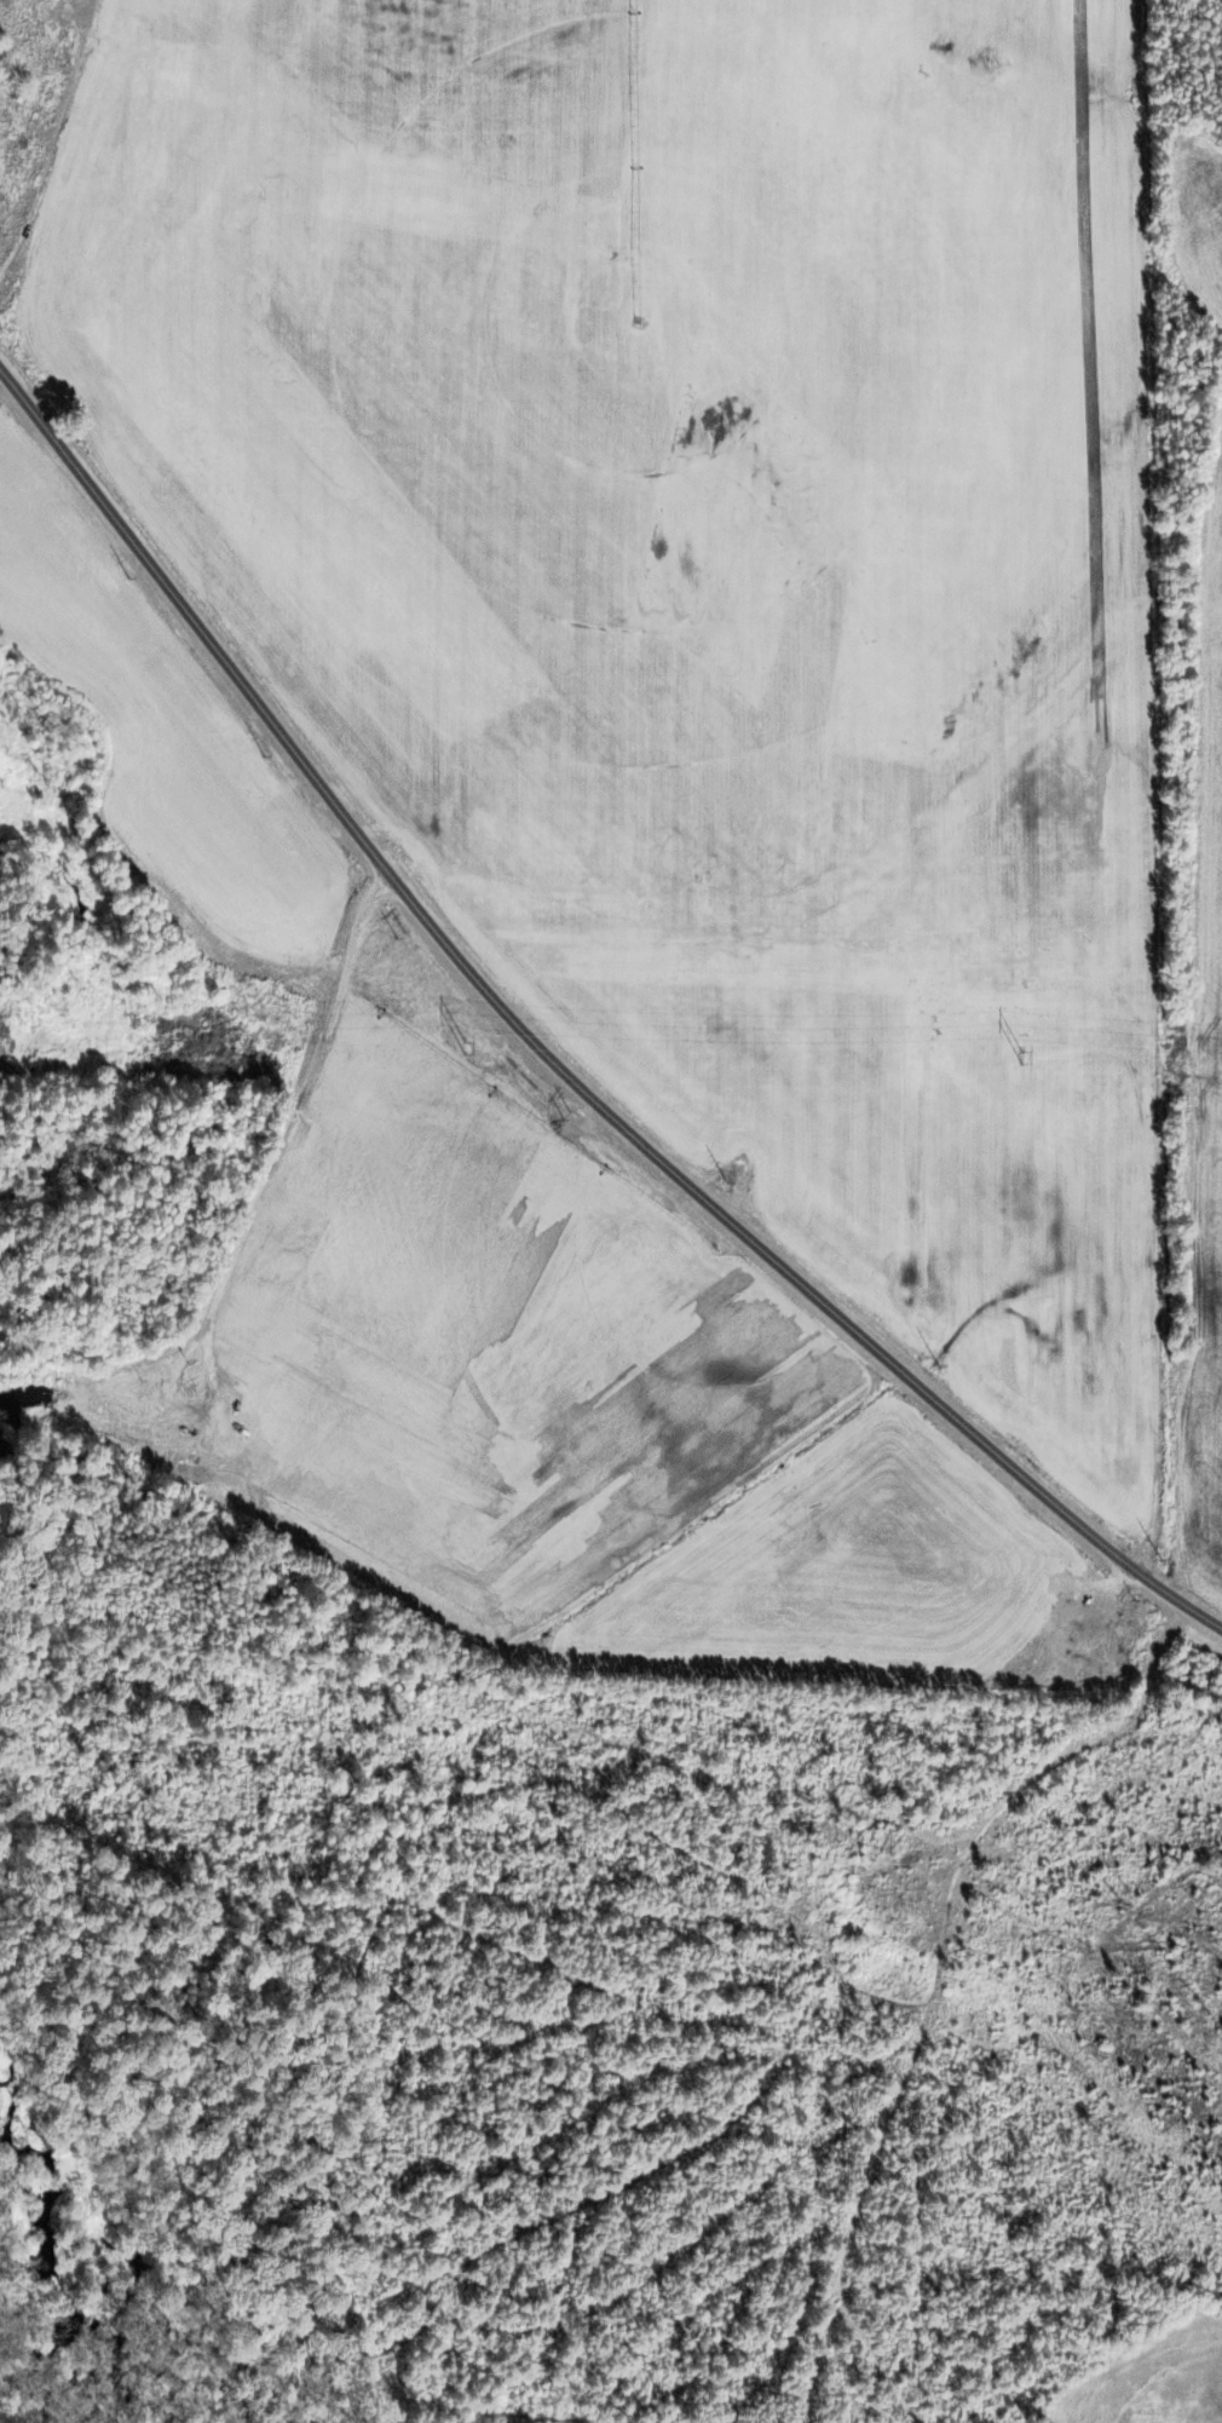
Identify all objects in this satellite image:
road: (1108, 802)
power tower: (467, 1044)
power tower: (1018, 1055)
road: (549, 1059)

